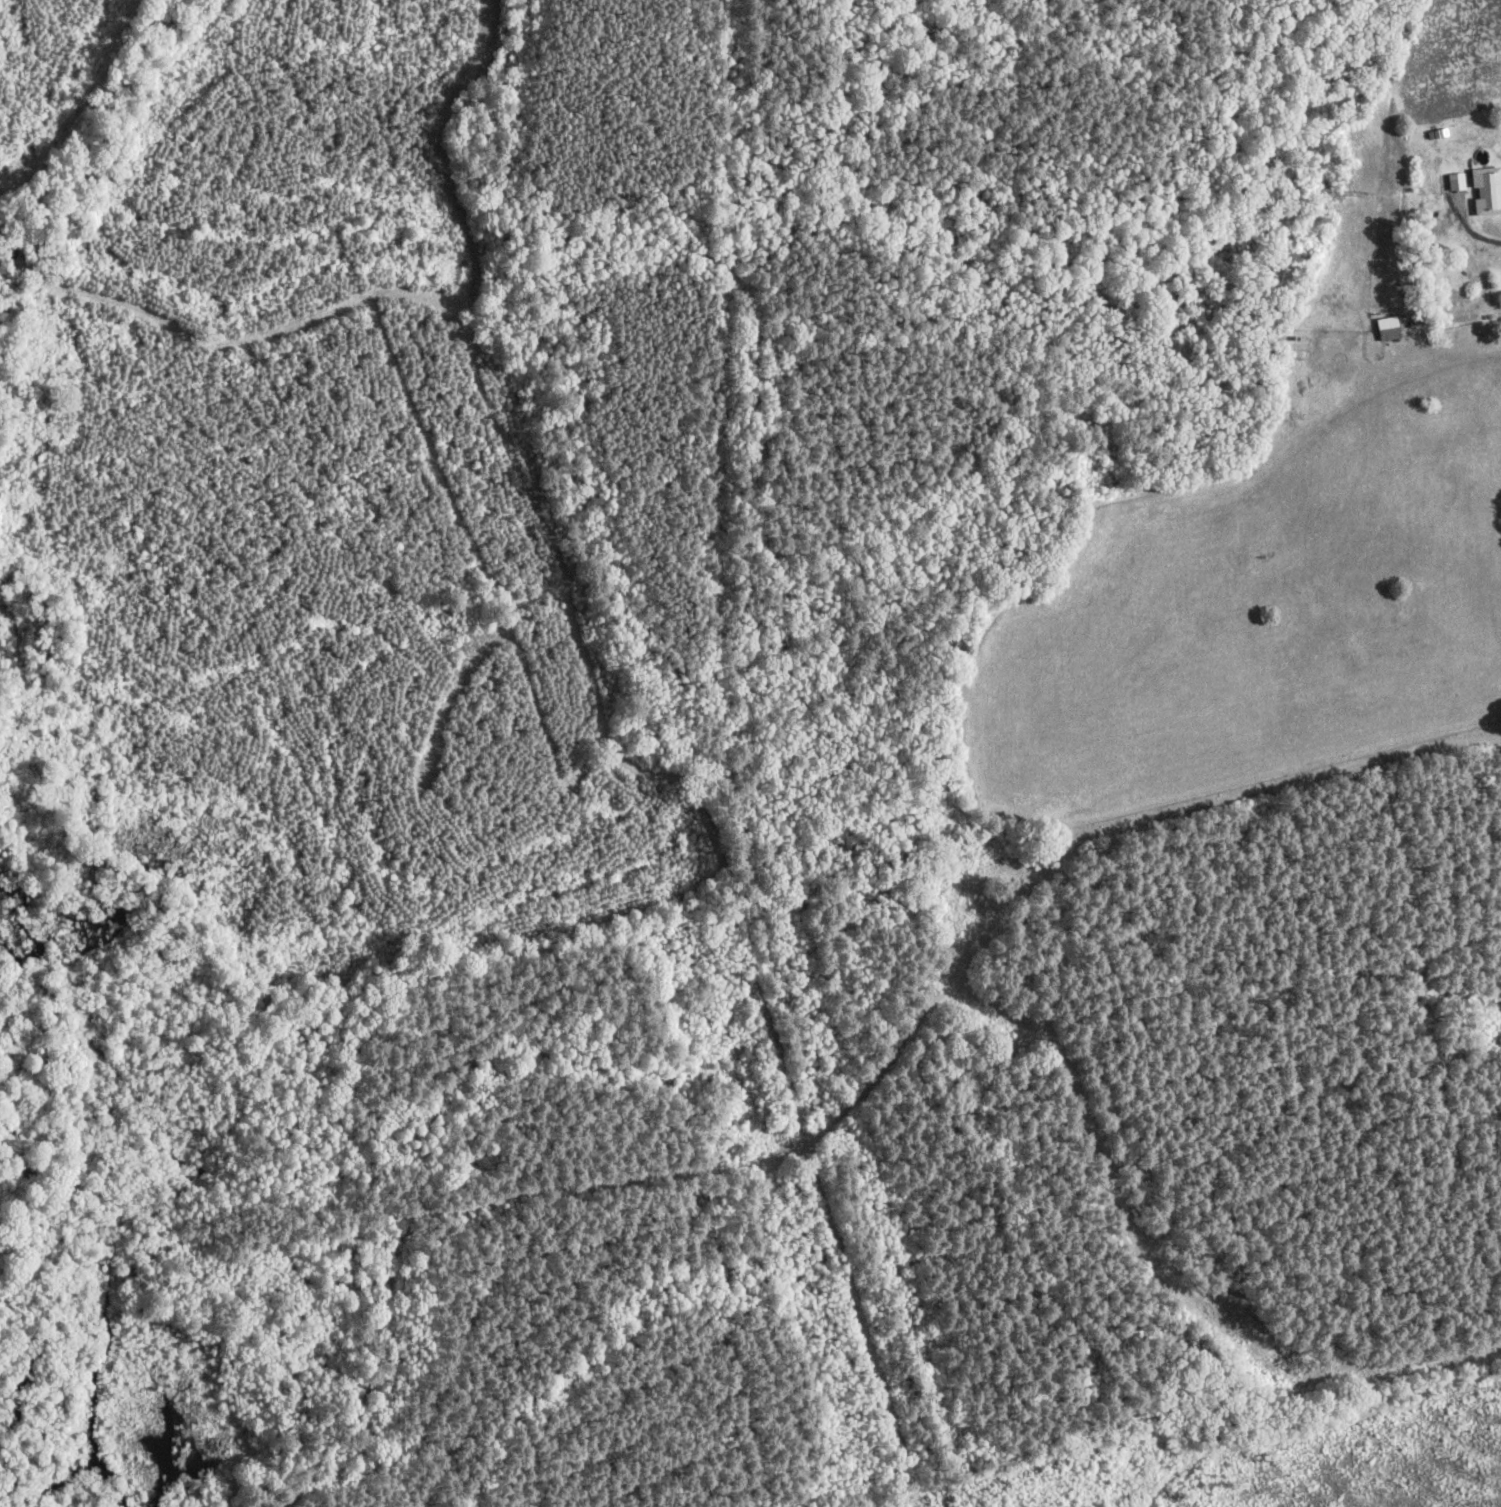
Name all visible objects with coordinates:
building: (1483, 193)
road: (1487, 239)
building: (1386, 335)

